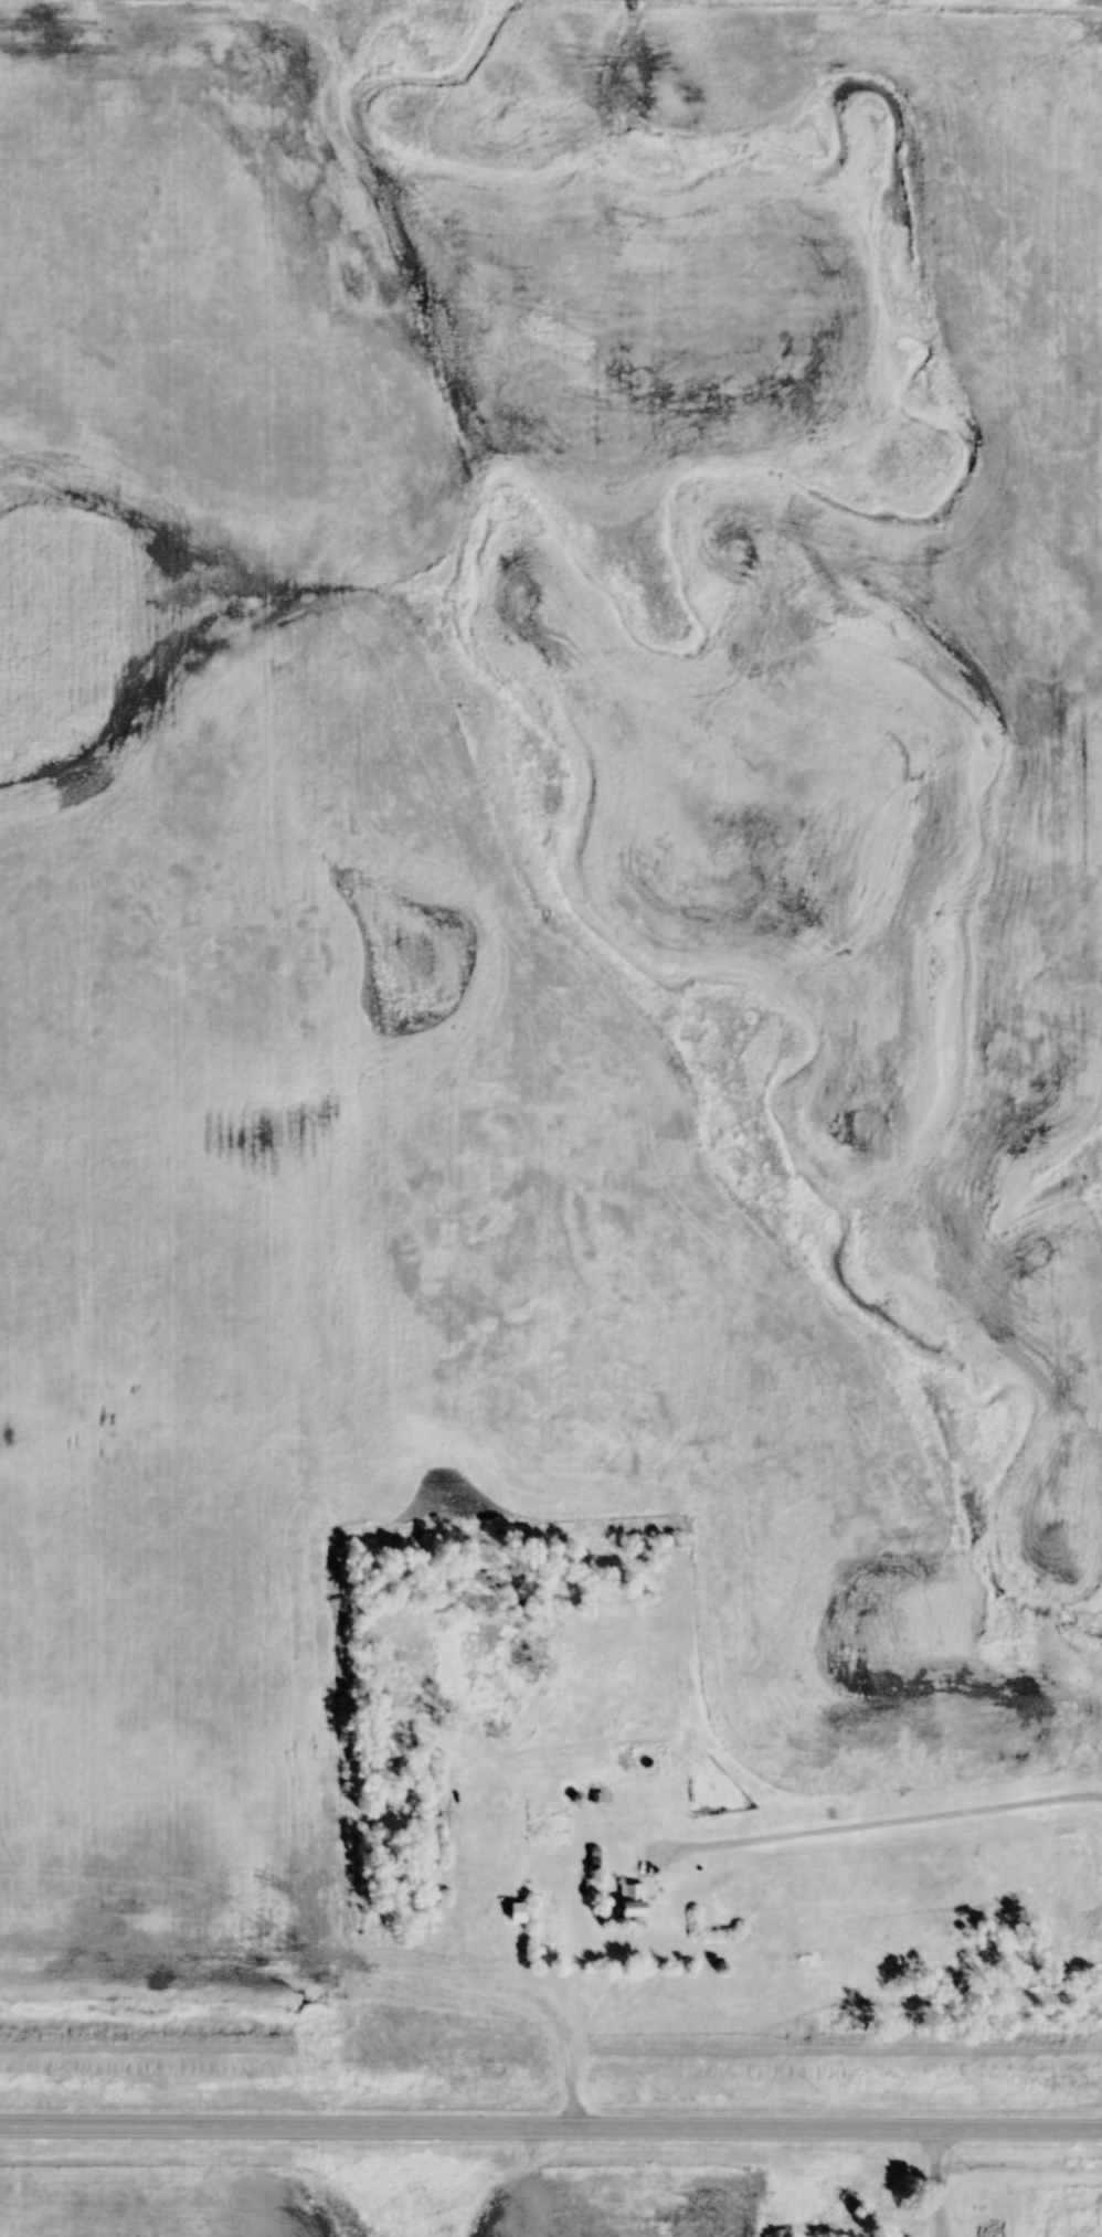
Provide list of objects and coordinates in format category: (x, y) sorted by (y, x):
road: (876, 1822)
building: (631, 1900)
road: (551, 2127)

